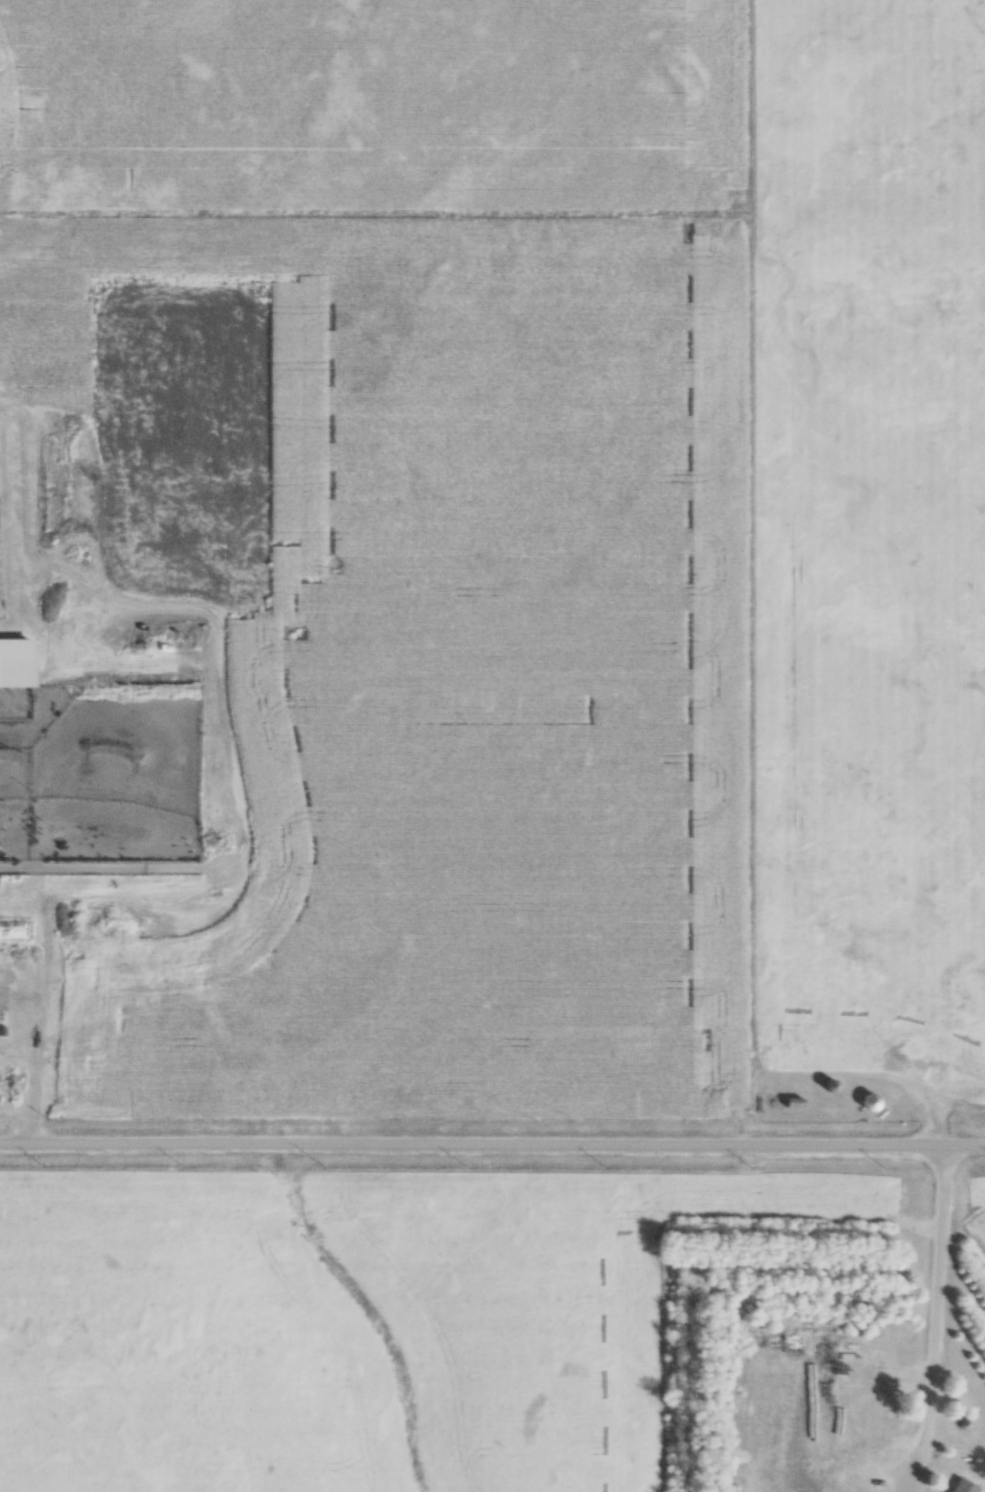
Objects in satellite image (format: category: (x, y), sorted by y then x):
building: (827, 1085)
building: (791, 1102)
building: (868, 1102)
road: (492, 1145)
building: (881, 1189)
road: (937, 1319)
building: (957, 1486)

